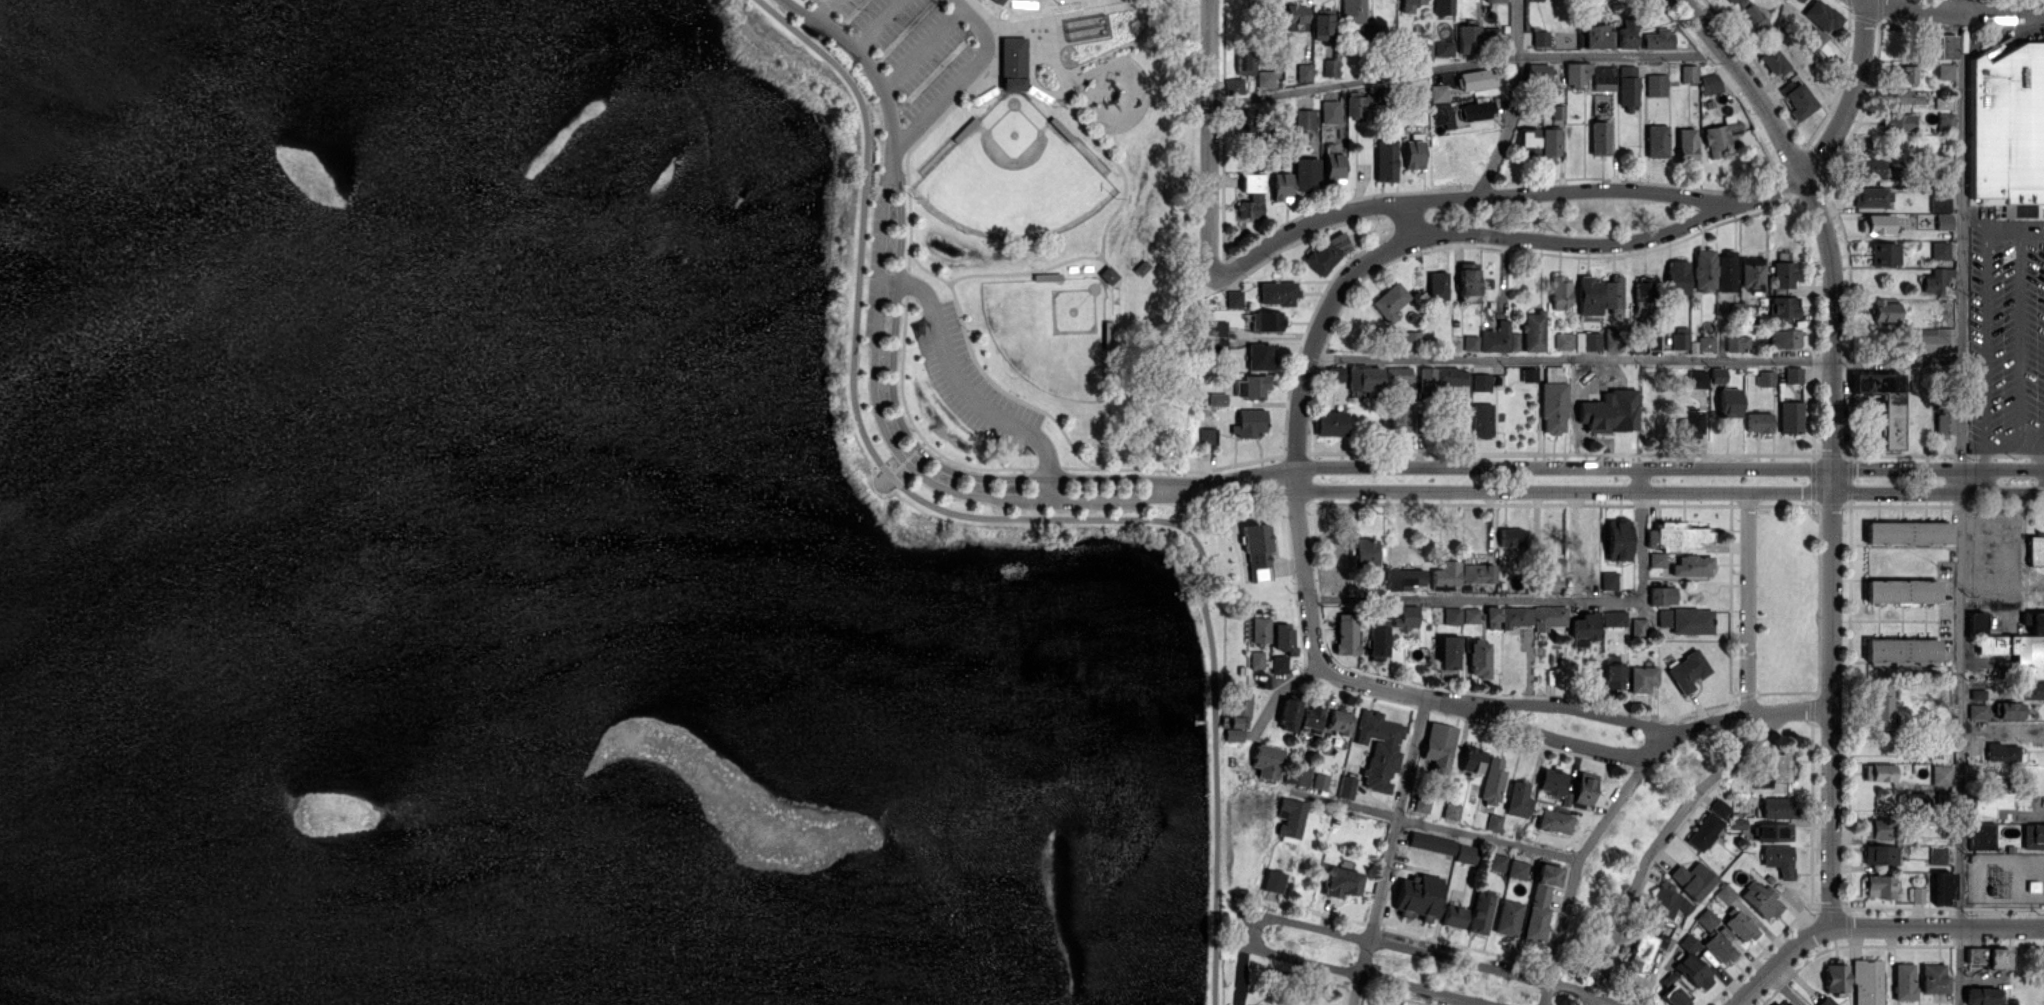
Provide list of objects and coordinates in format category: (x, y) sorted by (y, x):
building: (996, 0)
building: (1800, 0)
building: (1494, 1)
building: (1732, 1)
road: (1862, 1)
building: (1409, 5)
building: (1443, 7)
road: (1951, 7)
road: (825, 10)
building: (1353, 11)
building: (1822, 15)
building: (1296, 17)
building: (1753, 19)
road: (874, 23)
building: (1322, 23)
building: (1492, 32)
building: (1597, 35)
building: (1626, 35)
building: (1541, 37)
building: (1468, 38)
building: (1658, 38)
building: (1818, 44)
building: (1946, 46)
road: (922, 47)
building: (1444, 48)
parking lot: (910, 51)
building: (1424, 52)
building: (1244, 61)
building: (1773, 61)
building: (1012, 63)
road: (1468, 64)
building: (1330, 67)
building: (1945, 70)
building: (1304, 72)
building: (1688, 72)
building: (1538, 73)
building: (1905, 73)
building: (1577, 74)
road: (960, 75)
building: (1265, 78)
building: (1604, 78)
building: (1477, 79)
road: (1749, 81)
building: (1710, 83)
building: (1656, 84)
building: (1234, 85)
building: (1628, 86)
building: (1438, 92)
road: (1853, 96)
building: (1904, 96)
road: (1515, 101)
building: (1799, 101)
building: (1942, 102)
building: (1358, 105)
building: (1477, 110)
building: (1330, 111)
building: (1304, 119)
building: (1247, 120)
building: (1946, 121)
building: (1898, 122)
building: (2007, 130)
building: (1600, 137)
building: (1719, 138)
road: (1209, 139)
building: (1529, 141)
building: (1656, 141)
building: (1551, 143)
building: (1686, 143)
building: (1414, 151)
building: (1386, 160)
building: (1865, 167)
building: (1333, 168)
building: (1306, 173)
park: (1014, 174)
building: (1281, 186)
road: (1762, 194)
building: (1251, 195)
building: (1872, 196)
building: (1939, 200)
road: (1718, 208)
building: (1943, 220)
road: (1408, 221)
road: (1974, 221)
building: (1877, 223)
road: (1308, 225)
road: (2015, 227)
building: (1940, 249)
building: (1328, 252)
building: (1883, 253)
building: (1704, 269)
building: (1725, 271)
park: (1027, 272)
building: (1752, 272)
building: (1784, 275)
building: (1677, 277)
building: (1468, 278)
building: (1936, 280)
building: (1438, 285)
building: (1278, 292)
building: (1560, 292)
building: (1612, 294)
building: (1643, 294)
building: (1589, 295)
building: (1234, 298)
building: (1390, 301)
building: (1783, 307)
building: (1884, 309)
building: (1266, 320)
building: (1534, 330)
park: (1052, 332)
road: (2019, 332)
road: (1319, 333)
building: (1680, 337)
building: (1500, 338)
building: (1610, 338)
building: (1782, 338)
building: (1409, 339)
building: (1931, 339)
building: (1564, 341)
building: (1587, 341)
building: (1653, 341)
building: (1471, 342)
building: (1737, 342)
building: (1706, 343)
road: (1985, 353)
road: (872, 354)
building: (1259, 356)
road: (1898, 358)
road: (1571, 359)
building: (1337, 373)
building: (1529, 374)
building: (1398, 375)
building: (1719, 375)
building: (1793, 375)
building: (1453, 376)
building: (1365, 378)
building: (1697, 378)
building: (1765, 378)
building: (1426, 380)
building: (1481, 382)
building: (1251, 386)
road: (963, 389)
building: (1217, 398)
building: (1553, 401)
building: (1729, 402)
building: (1883, 403)
building: (1609, 411)
building: (1399, 416)
building: (1790, 416)
building: (1482, 420)
building: (1690, 421)
building: (1248, 422)
building: (1758, 422)
building: (1331, 423)
building: (1944, 424)
building: (1208, 436)
road: (2013, 438)
road: (2043, 458)
road: (1613, 481)
road: (1962, 502)
road: (1184, 510)
road: (1011, 518)
building: (1908, 532)
building: (1676, 536)
building: (1510, 537)
building: (1617, 539)
road: (1642, 540)
road: (1831, 546)
building: (2035, 550)
building: (1257, 551)
building: (1365, 556)
building: (1657, 559)
building: (1692, 565)
road: (1306, 573)
building: (1446, 573)
building: (1478, 573)
building: (1403, 579)
building: (1609, 580)
building: (1548, 583)
building: (1902, 591)
building: (1662, 595)
road: (1748, 597)
road: (1476, 599)
building: (1452, 615)
building: (1471, 615)
building: (1507, 616)
building: (1406, 617)
building: (1549, 617)
building: (1664, 617)
building: (1615, 618)
building: (1692, 620)
building: (2034, 621)
building: (1976, 622)
building: (1638, 626)
building: (1260, 629)
building: (1582, 629)
building: (1347, 633)
building: (1284, 637)
building: (1377, 638)
building: (1902, 650)
building: (1447, 652)
building: (2017, 652)
building: (1478, 656)
building: (1257, 659)
building: (1279, 663)
building: (1687, 671)
building: (1613, 672)
building: (1642, 678)
road: (1282, 689)
building: (2030, 689)
building: (1978, 694)
building: (1882, 707)
road: (1573, 709)
building: (2009, 710)
building: (1977, 711)
building: (1288, 714)
building: (1238, 716)
building: (1310, 718)
building: (1339, 722)
road: (2002, 731)
road: (1577, 741)
building: (1439, 746)
building: (1379, 748)
building: (2002, 751)
building: (1266, 760)
building: (1472, 760)
building: (1774, 770)
building: (1878, 772)
building: (1941, 774)
building: (1297, 775)
building: (1320, 780)
building: (1493, 781)
building: (1555, 783)
building: (1347, 786)
building: (1584, 788)
building: (1944, 798)
building: (1518, 799)
building: (1914, 799)
building: (1987, 803)
building: (1421, 804)
building: (1719, 807)
building: (1777, 807)
building: (1451, 810)
building: (1290, 818)
building: (1494, 821)
building: (1555, 821)
road: (1429, 823)
building: (1878, 828)
building: (1704, 831)
building: (1773, 831)
building: (1980, 835)
building: (2033, 836)
road: (1660, 840)
building: (1432, 842)
road: (1390, 852)
building: (1466, 854)
building: (1880, 854)
building: (1937, 855)
building: (1779, 859)
building: (1497, 861)
building: (1518, 869)
road: (1575, 870)
building: (1693, 879)
building: (1273, 880)
building: (1342, 882)
building: (1880, 885)
building: (1943, 887)
building: (1724, 893)
building: (1917, 894)
building: (1419, 895)
building: (1760, 899)
building: (1540, 900)
building: (1668, 903)
building: (1480, 911)
building: (1454, 916)
building: (1508, 917)
road: (1280, 918)
building: (1706, 919)
road: (1937, 924)
building: (1741, 925)
building: (1719, 947)
building: (1641, 952)
building: (1989, 957)
road: (1782, 961)
building: (1693, 964)
building: (1933, 978)
building: (1667, 979)
building: (1836, 979)
building: (1903, 981)
building: (1867, 982)
road: (1786, 989)
building: (1674, 996)
building: (1981, 996)
building: (1826, 1001)
building: (1783, 1002)

